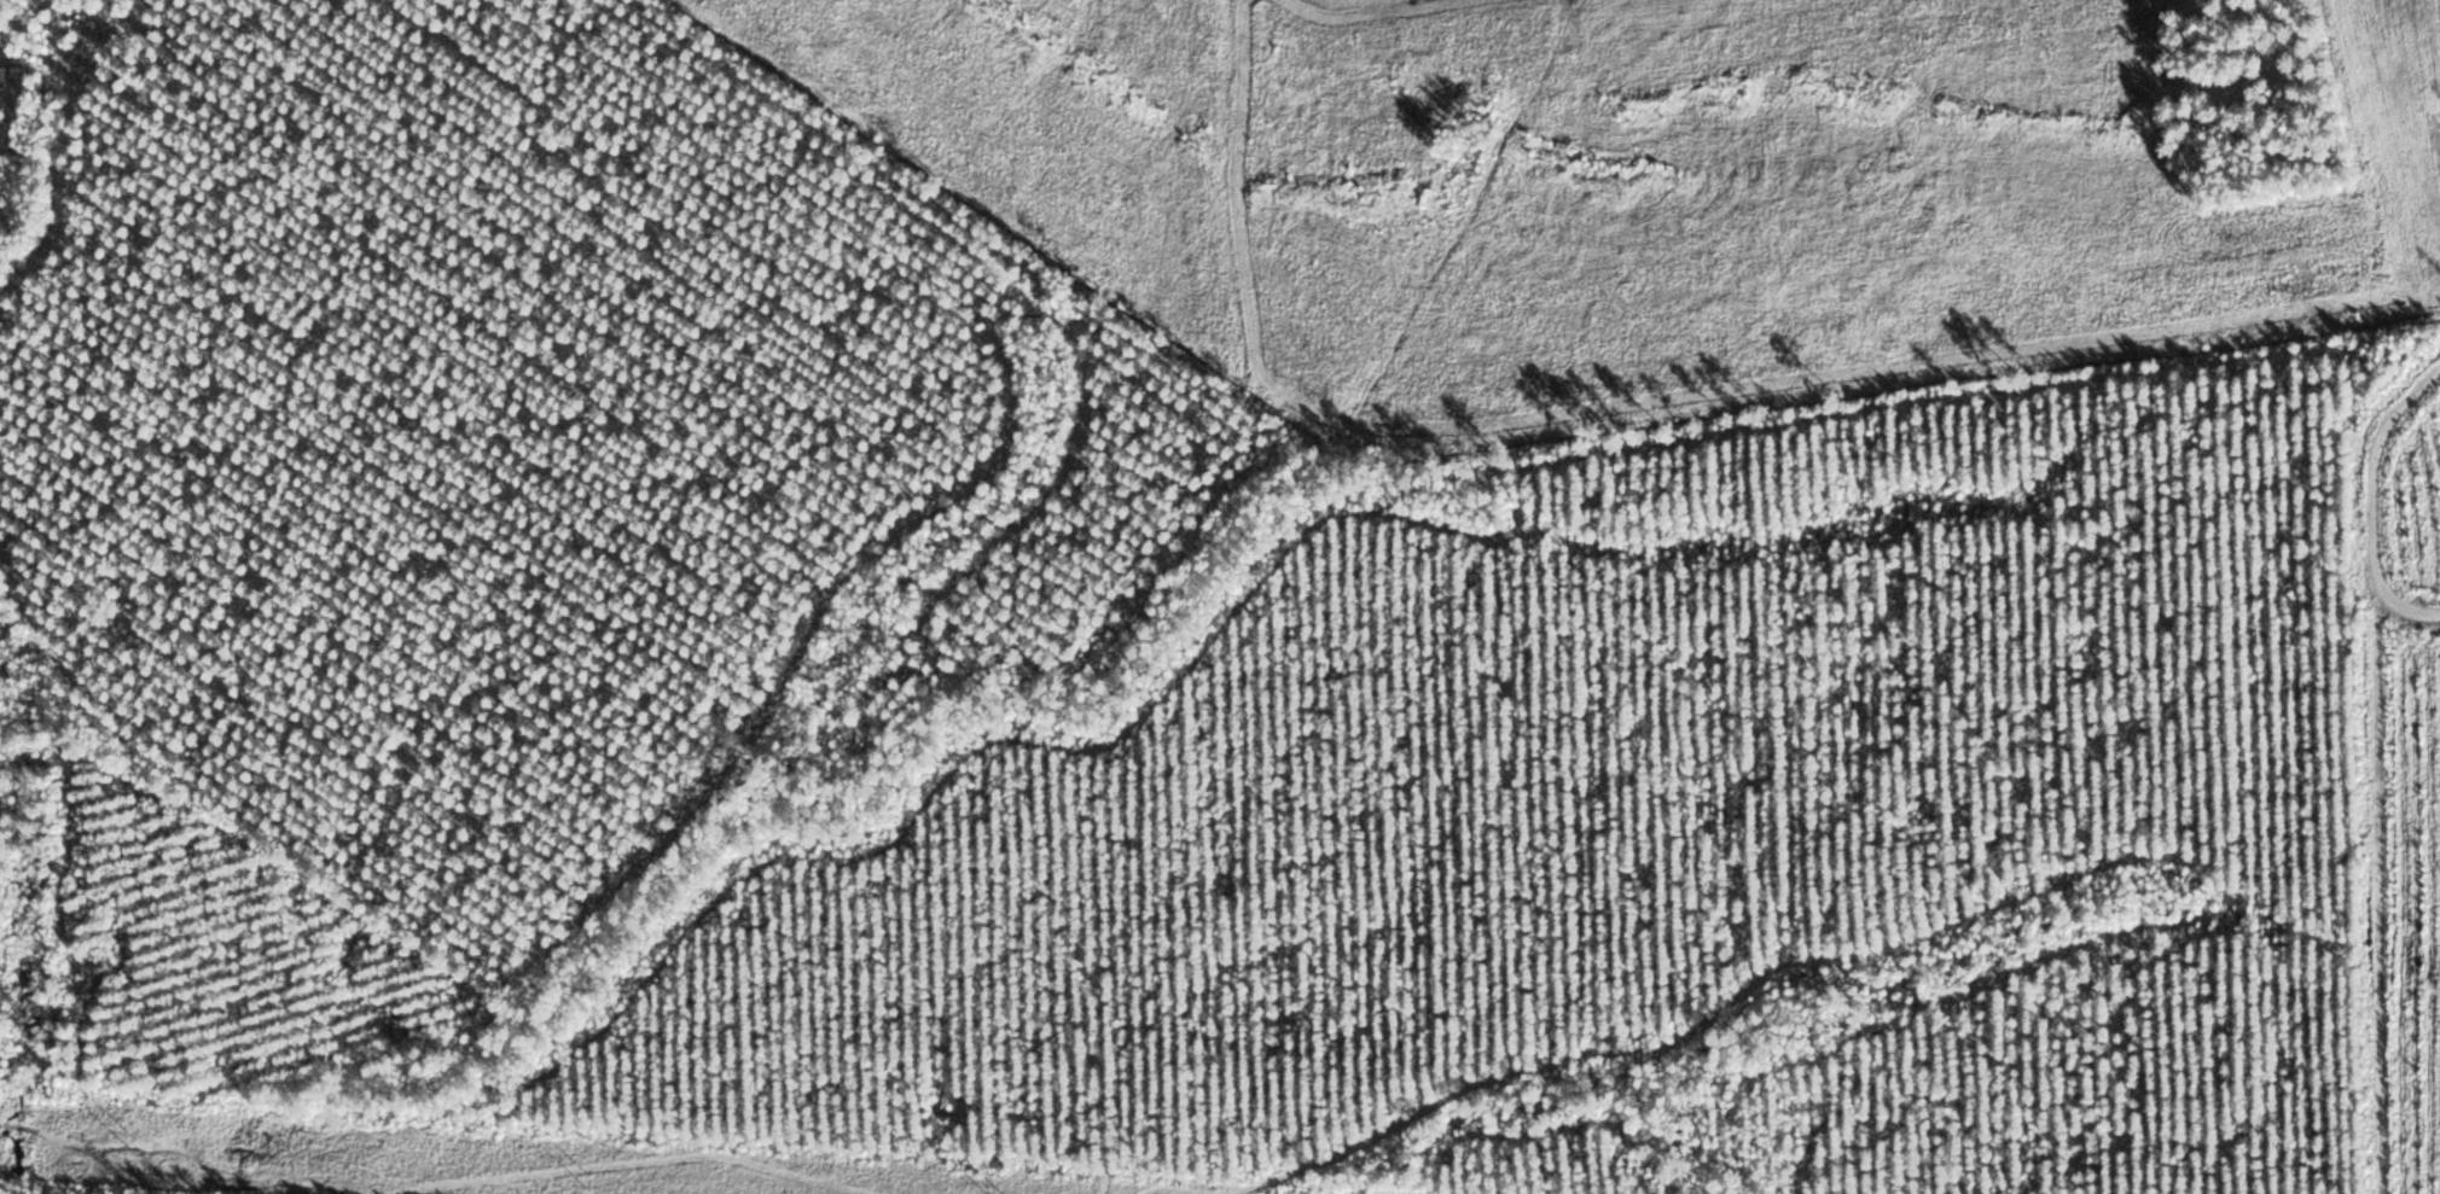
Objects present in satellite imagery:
road: (2433, 363)
road: (2388, 681)
power tower: (134, 1143)
power tower: (585, 1176)

